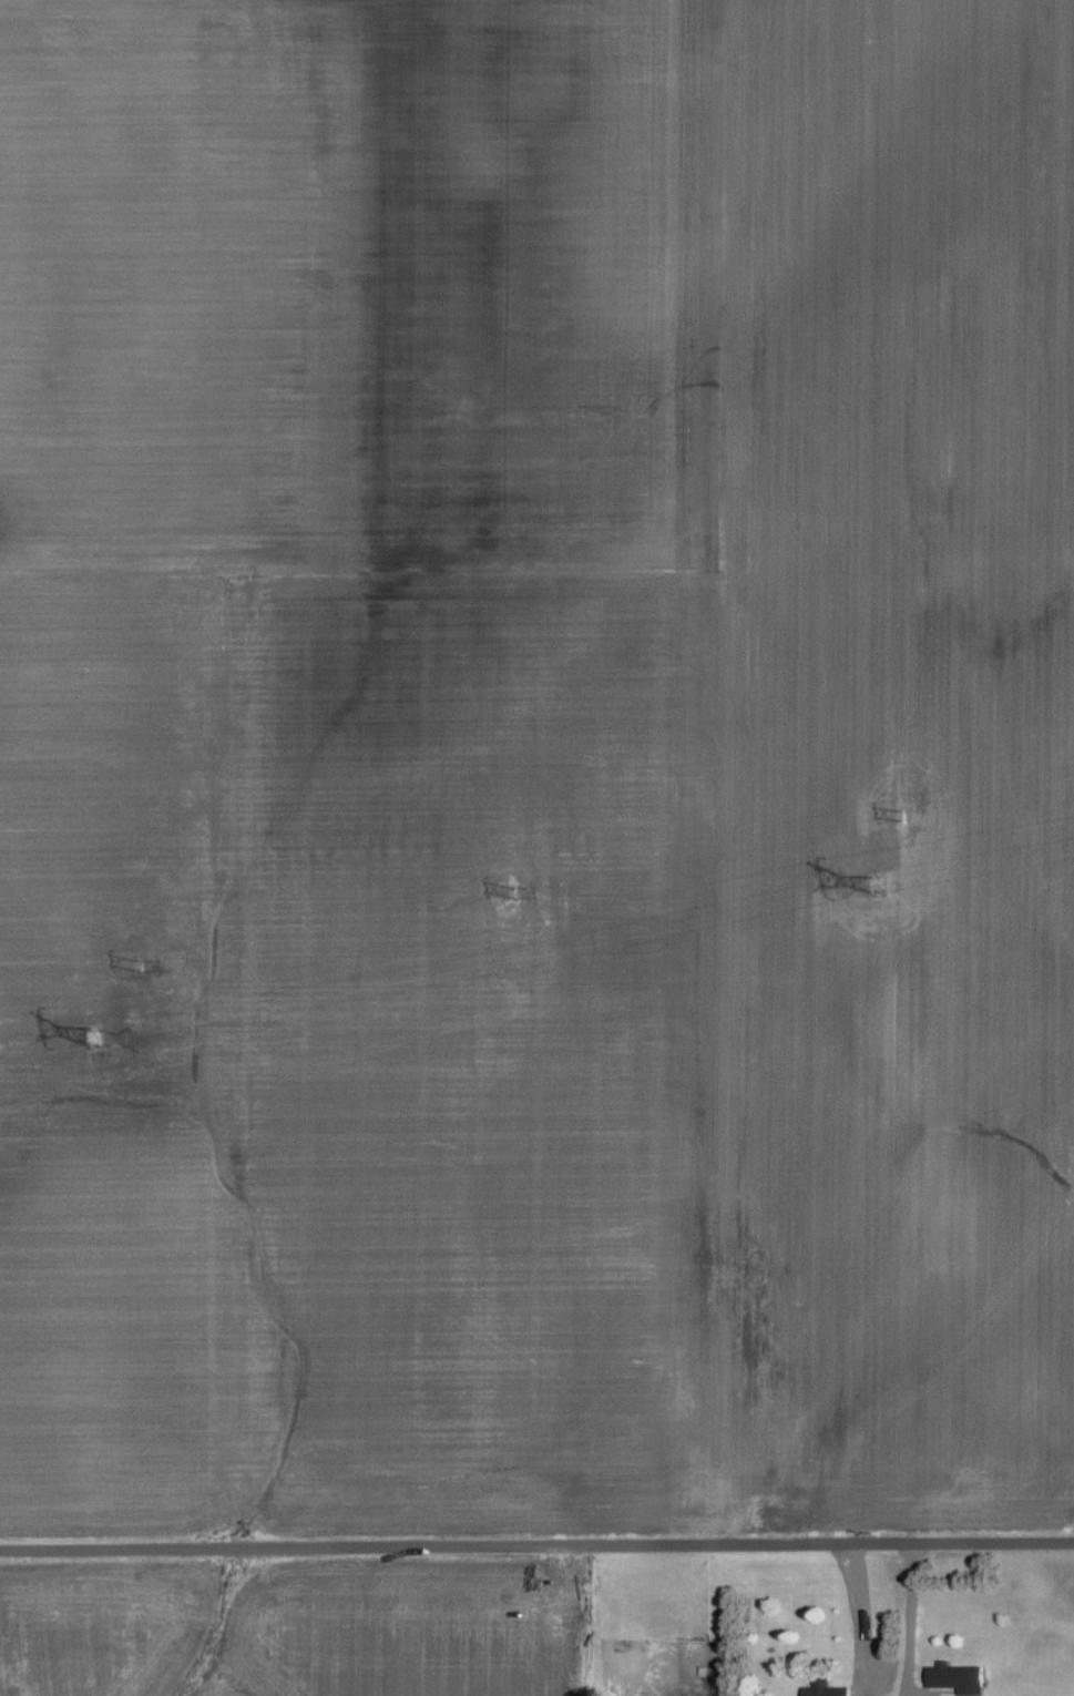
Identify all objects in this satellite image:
power tower: (906, 811)
power tower: (878, 883)
power tower: (513, 889)
power tower: (136, 962)
power tower: (93, 1038)
road: (536, 1539)
road: (847, 1610)
road: (900, 1610)
building: (963, 1678)
building: (831, 1689)

